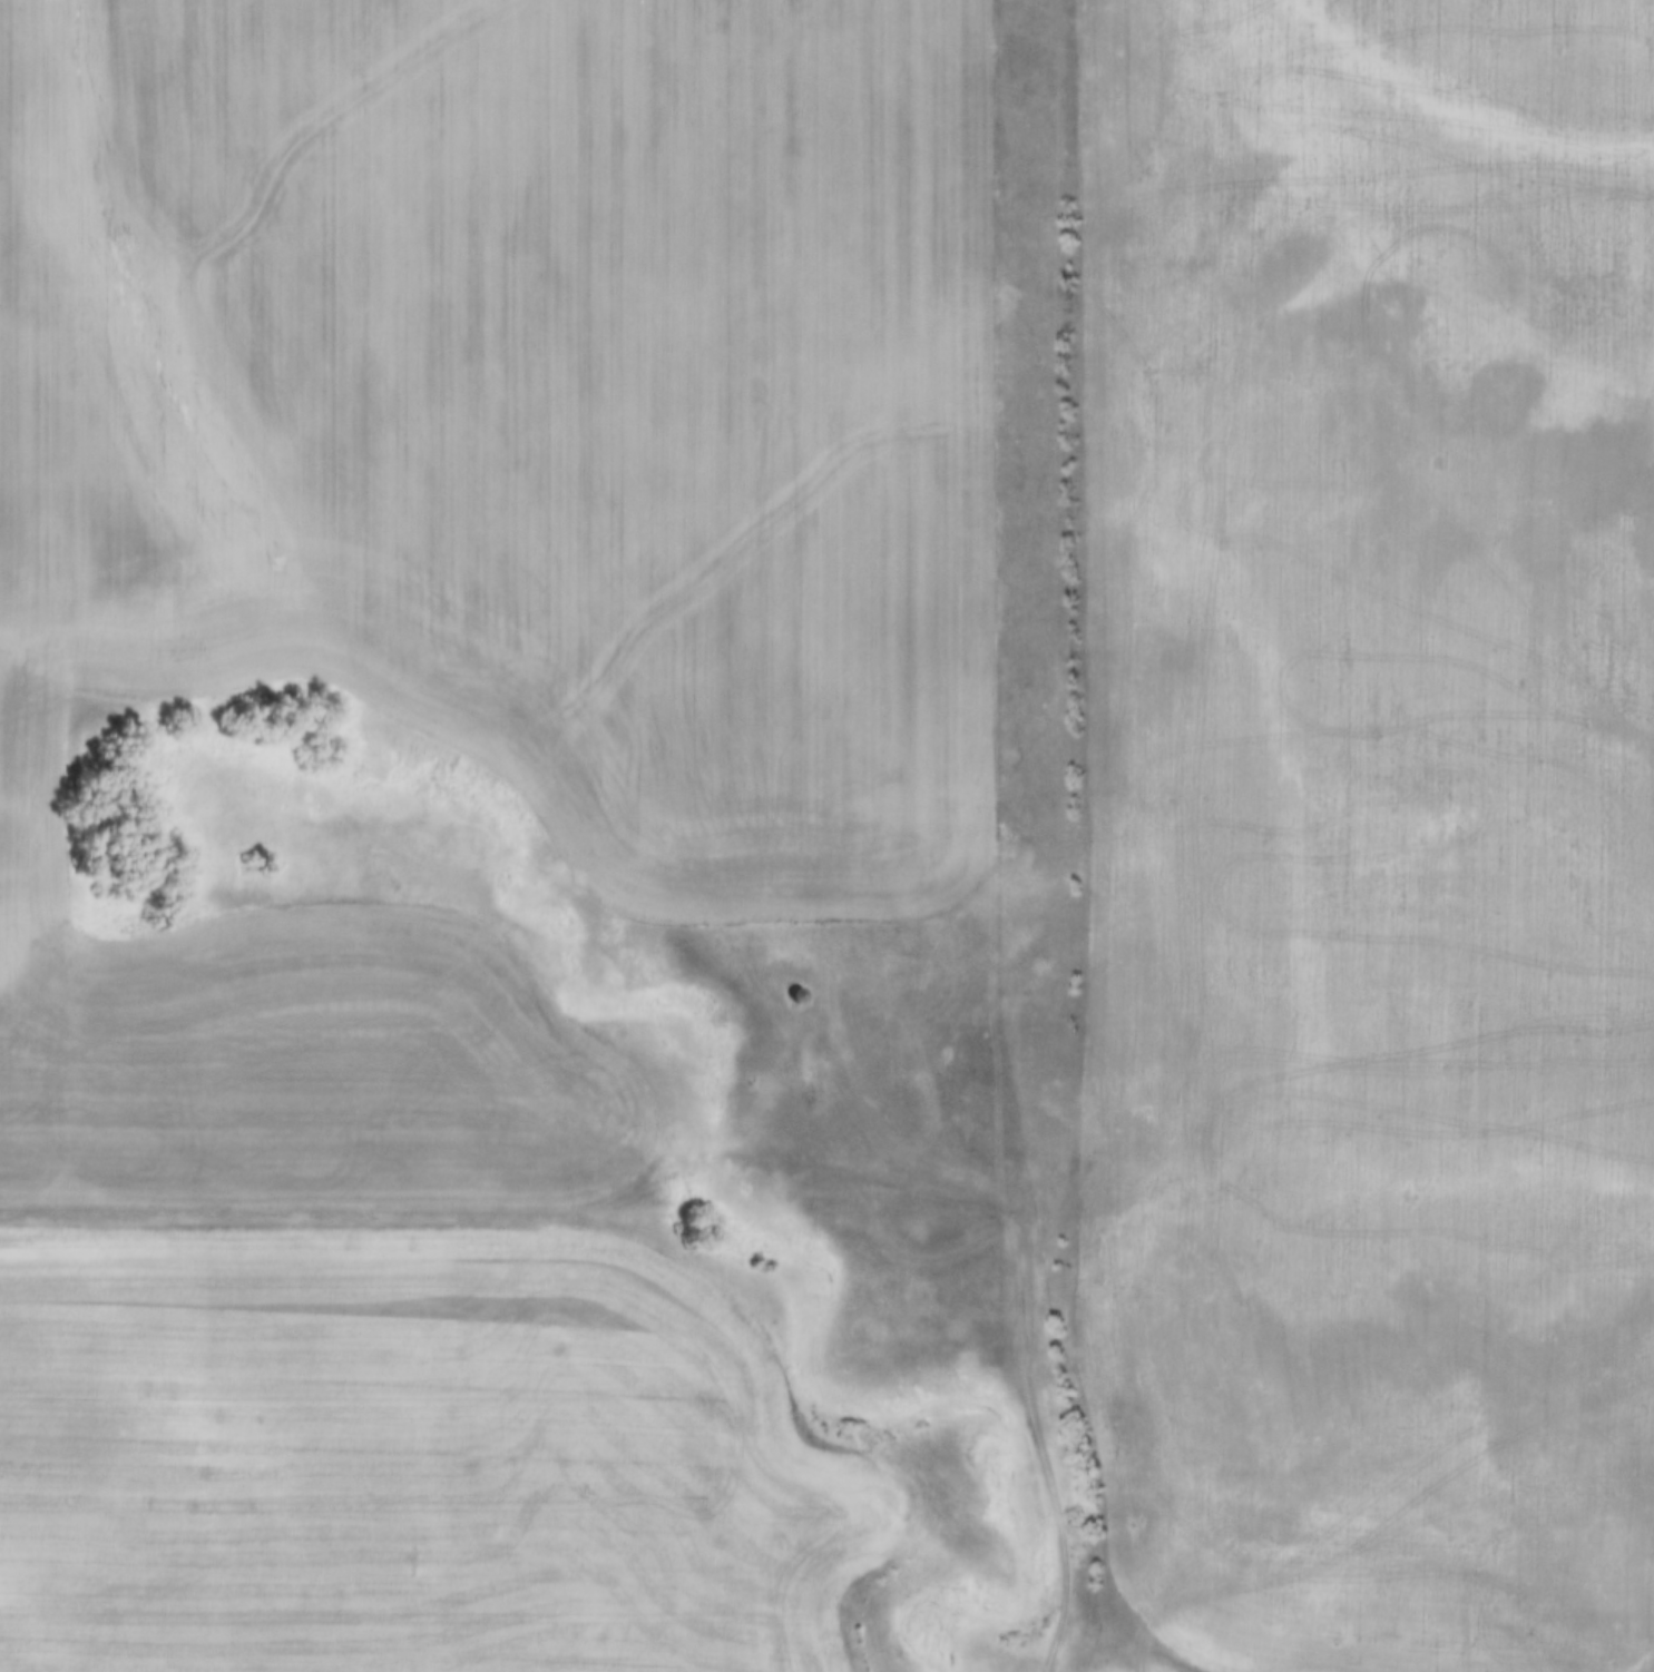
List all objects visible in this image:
building: (800, 996)
road: (1026, 1326)

